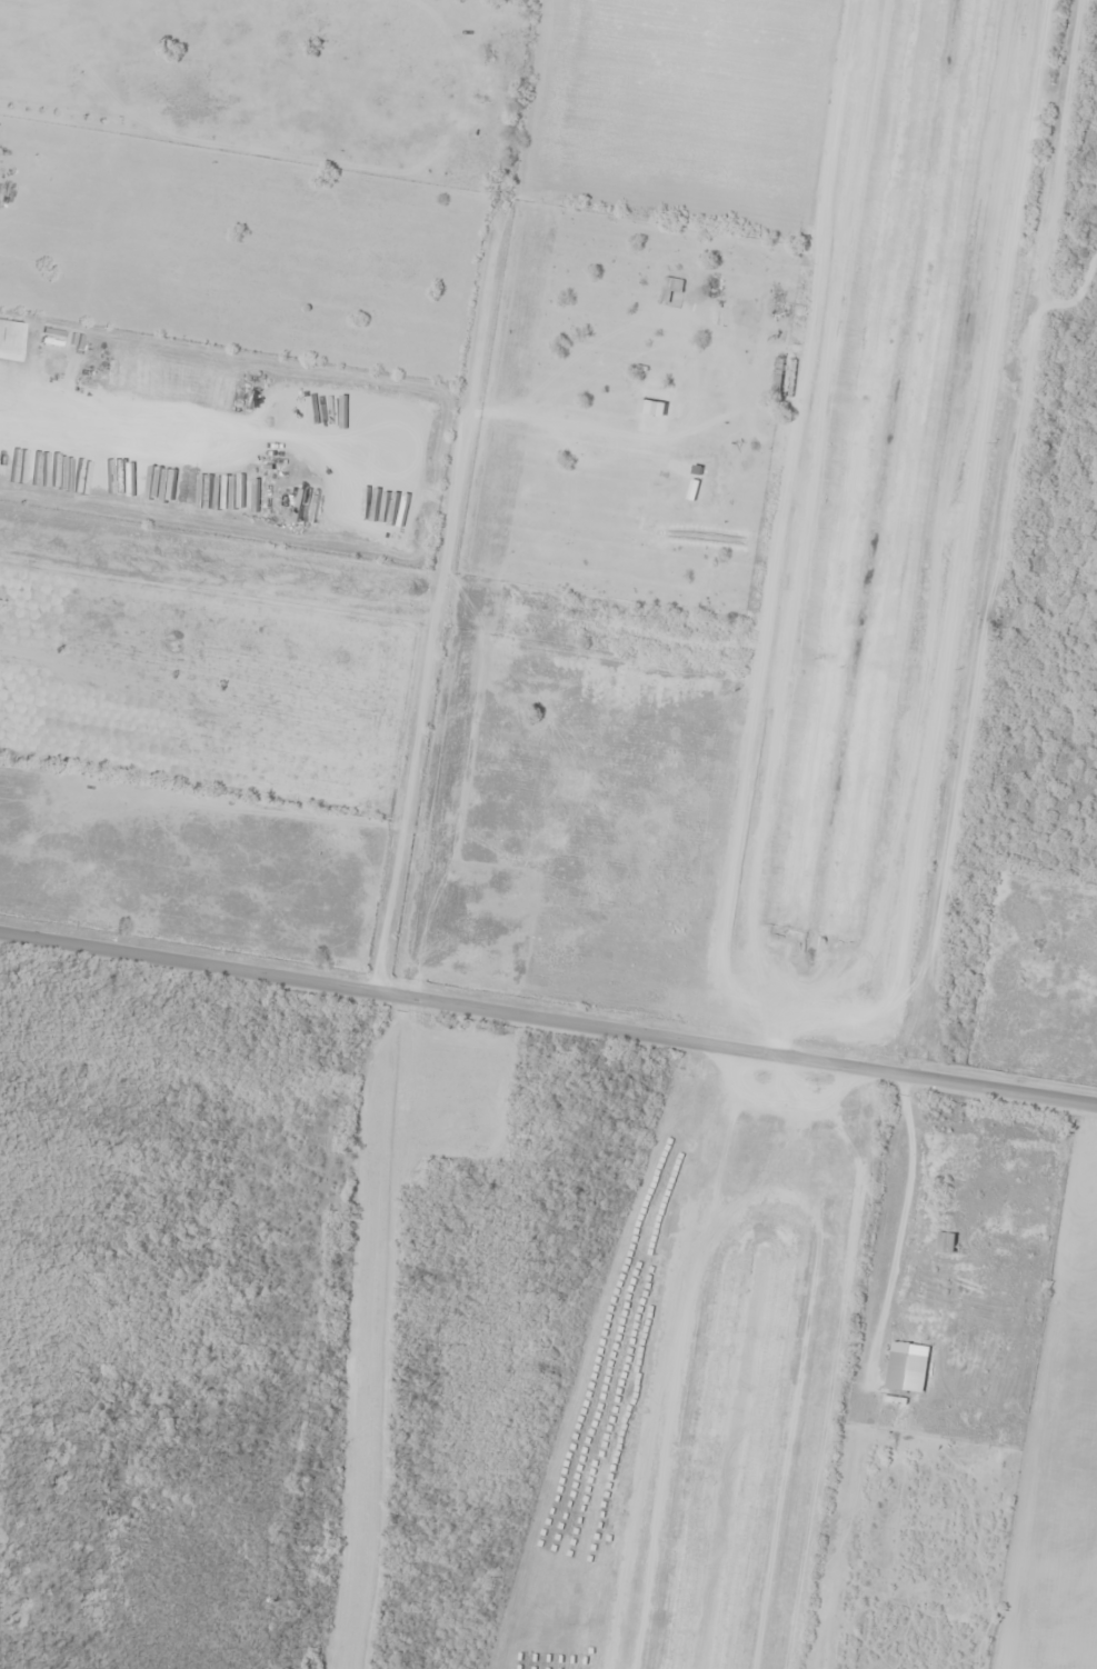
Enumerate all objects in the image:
building: (804, 311)
building: (784, 377)
railway: (974, 872)
road: (460, 1012)
road: (1009, 1098)

